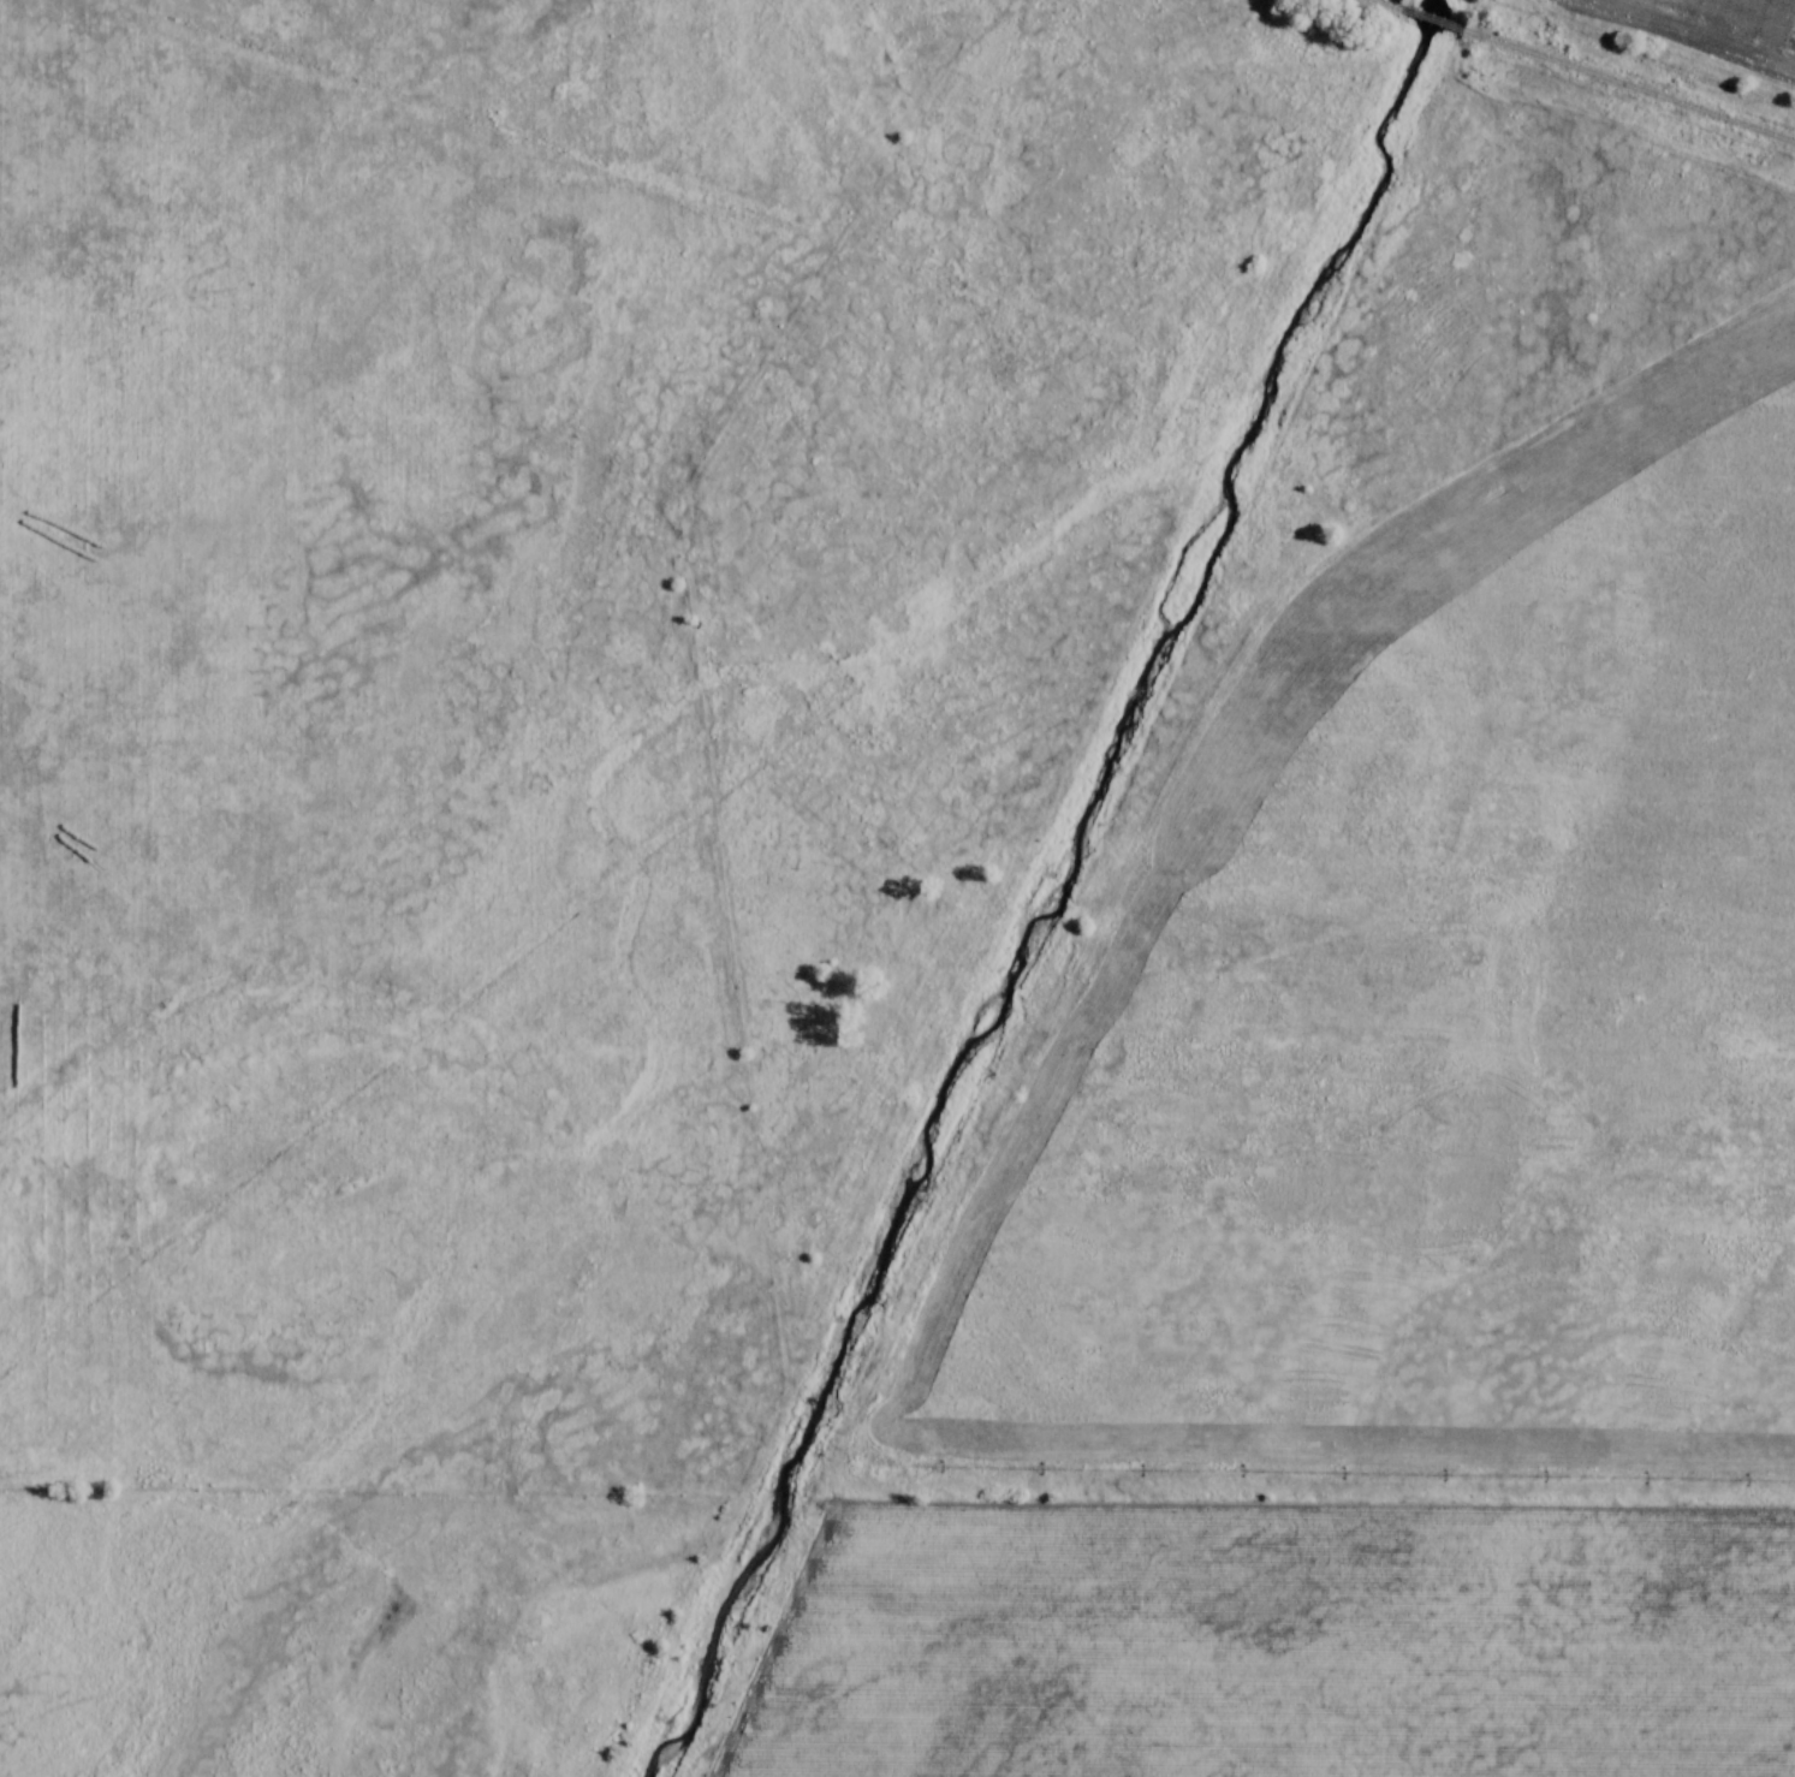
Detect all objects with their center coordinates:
railway: (1597, 75)
building: (569, 218)

